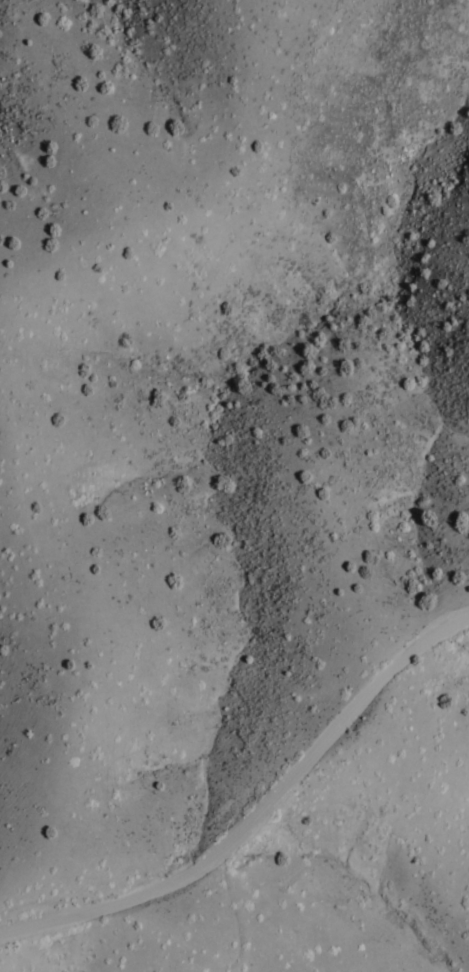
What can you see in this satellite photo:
road: (258, 813)

